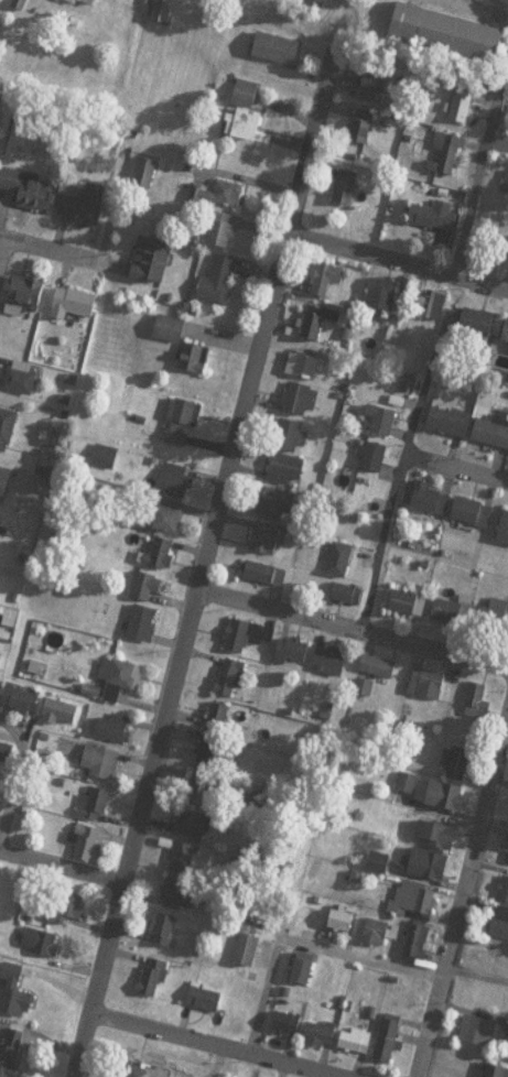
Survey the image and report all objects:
road: (463, 4)
building: (80, 6)
park: (478, 10)
building: (163, 15)
road: (293, 24)
building: (448, 39)
building: (279, 55)
building: (372, 91)
building: (247, 99)
building: (463, 111)
building: (248, 131)
building: (364, 133)
building: (447, 160)
building: (147, 179)
building: (505, 188)
building: (24, 195)
building: (346, 198)
building: (219, 199)
building: (79, 213)
building: (435, 221)
building: (224, 235)
road: (3, 250)
road: (62, 253)
road: (398, 258)
building: (152, 269)
building: (321, 276)
building: (220, 286)
building: (382, 292)
building: (29, 297)
building: (431, 303)
building: (77, 308)
building: (315, 323)
building: (479, 327)
building: (505, 330)
building: (171, 334)
building: (506, 341)
road: (433, 360)
building: (196, 363)
building: (305, 367)
building: (22, 383)
building: (301, 406)
building: (383, 427)
building: (451, 427)
building: (182, 428)
building: (8, 436)
building: (493, 438)
building: (296, 444)
building: (376, 464)
road: (230, 465)
road: (458, 468)
building: (290, 476)
building: (176, 487)
building: (4, 490)
building: (432, 505)
building: (279, 511)
building: (474, 519)
building: (166, 523)
building: (505, 536)
building: (163, 559)
building: (342, 566)
building: (264, 579)
building: (151, 596)
building: (348, 601)
building: (409, 609)
building: (490, 616)
building: (453, 619)
road: (354, 628)
building: (143, 630)
building: (248, 642)
building: (0, 656)
building: (293, 656)
building: (1, 667)
building: (332, 668)
building: (379, 674)
building: (125, 681)
building: (230, 685)
building: (428, 690)
building: (22, 705)
building: (477, 709)
building: (62, 719)
building: (217, 724)
building: (115, 736)
building: (7, 759)
building: (210, 759)
building: (102, 768)
building: (456, 768)
road: (17, 770)
building: (404, 782)
building: (408, 790)
building: (203, 795)
building: (448, 802)
building: (95, 809)
building: (194, 831)
building: (437, 840)
building: (85, 844)
building: (183, 862)
road: (62, 864)
building: (380, 869)
building: (430, 870)
road: (461, 892)
building: (504, 898)
building: (175, 900)
building: (415, 905)
building: (66, 913)
building: (343, 926)
building: (499, 929)
building: (166, 936)
building: (377, 938)
road: (303, 942)
building: (418, 947)
building: (44, 949)
building: (249, 956)
building: (303, 977)
road: (100, 978)
building: (154, 983)
building: (17, 999)
building: (487, 1002)
building: (205, 1004)
building: (287, 1030)
building: (506, 1035)
building: (478, 1037)
building: (321, 1041)
road: (223, 1042)
building: (391, 1045)
building: (356, 1047)
building: (12, 1056)
building: (145, 1074)
building: (496, 1074)

